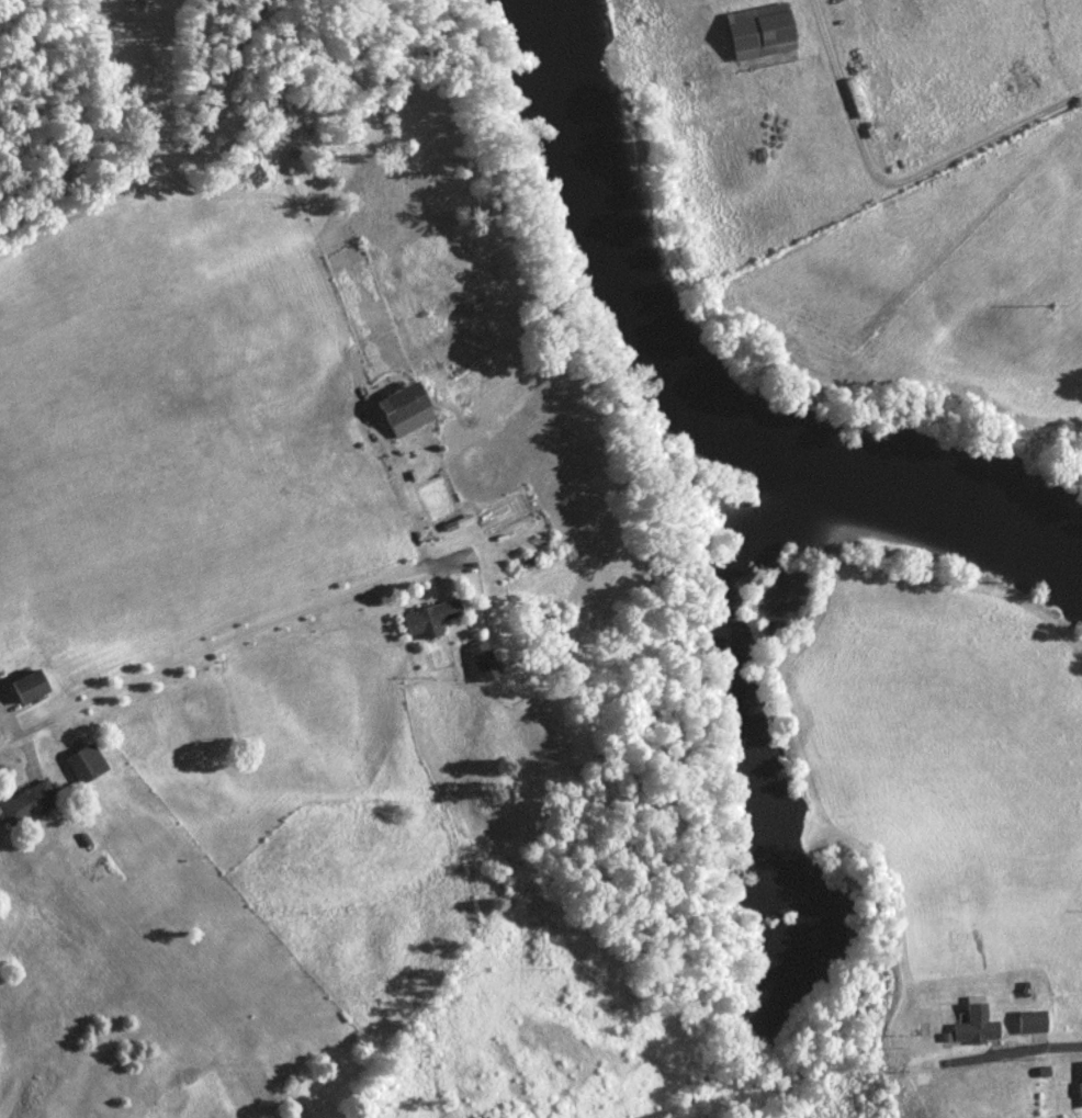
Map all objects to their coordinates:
building: (764, 33)
river: (702, 389)
building: (409, 409)
building: (436, 619)
road: (223, 640)
building: (486, 660)
building: (34, 686)
building: (89, 764)
building: (31, 804)
building: (1036, 1023)
building: (979, 1025)
road: (1016, 1057)
building: (998, 1091)

